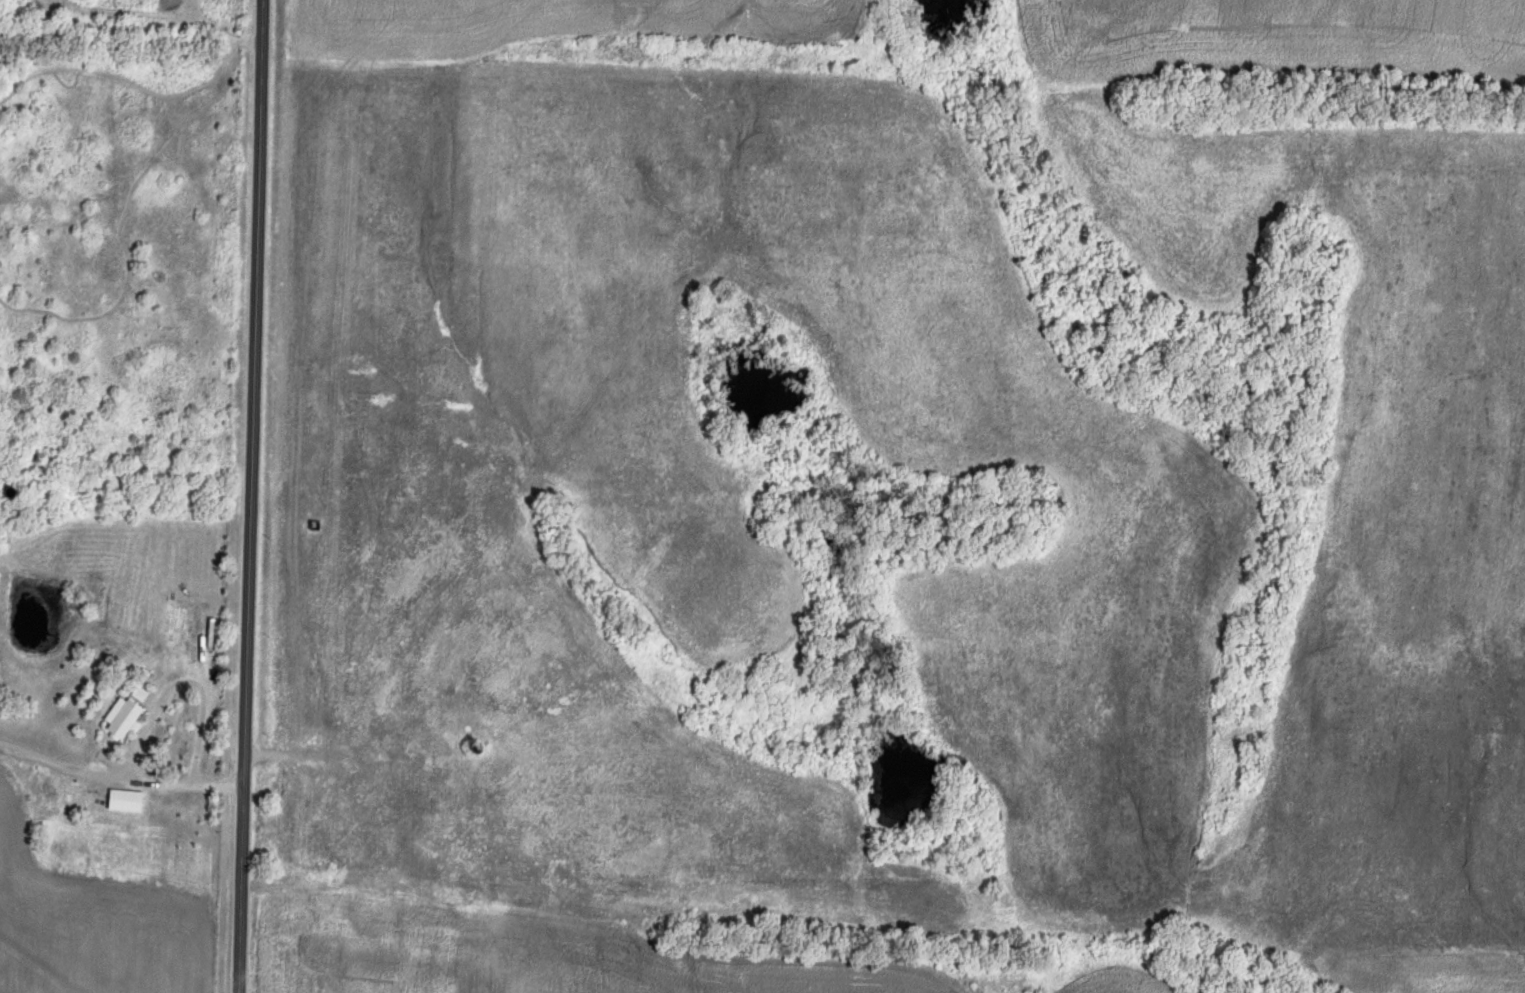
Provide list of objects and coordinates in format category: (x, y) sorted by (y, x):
road: (258, 496)
building: (123, 716)
road: (123, 774)
building: (125, 800)

